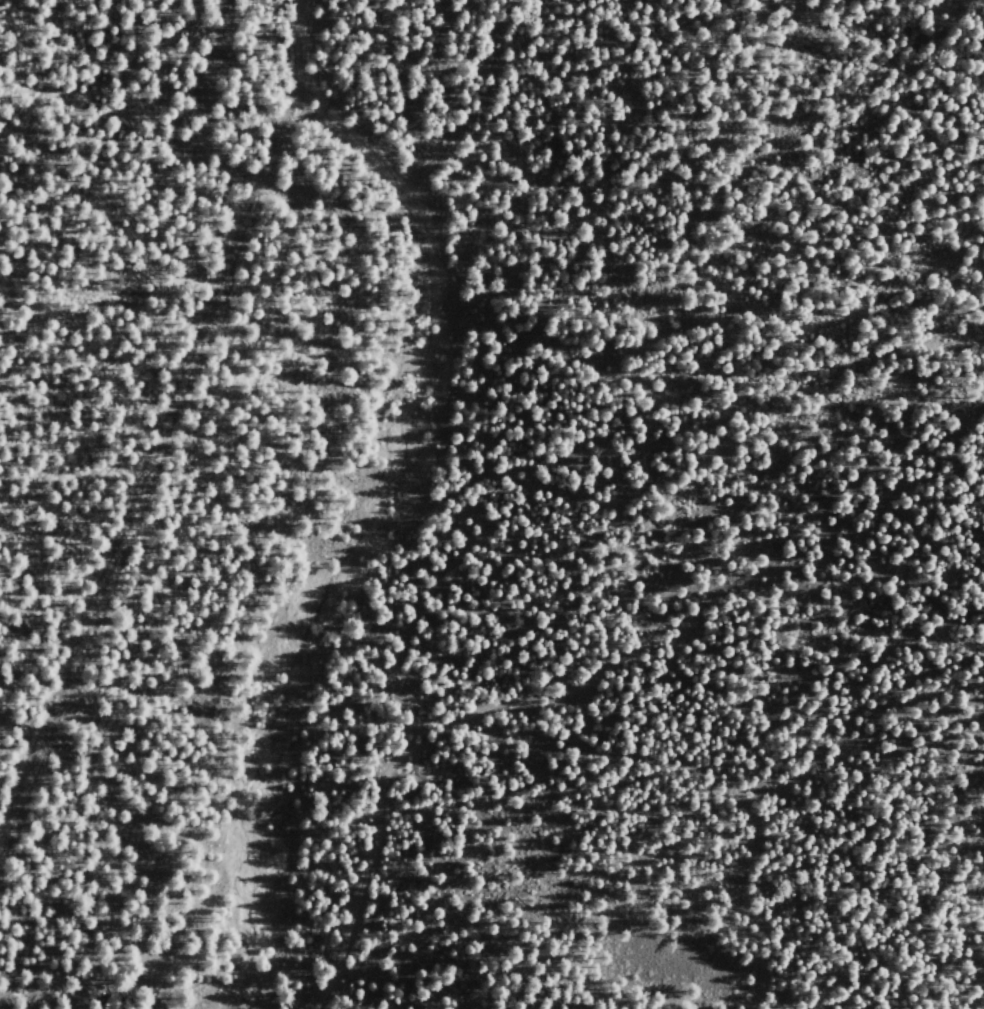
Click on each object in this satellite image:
road: (145, 449)

